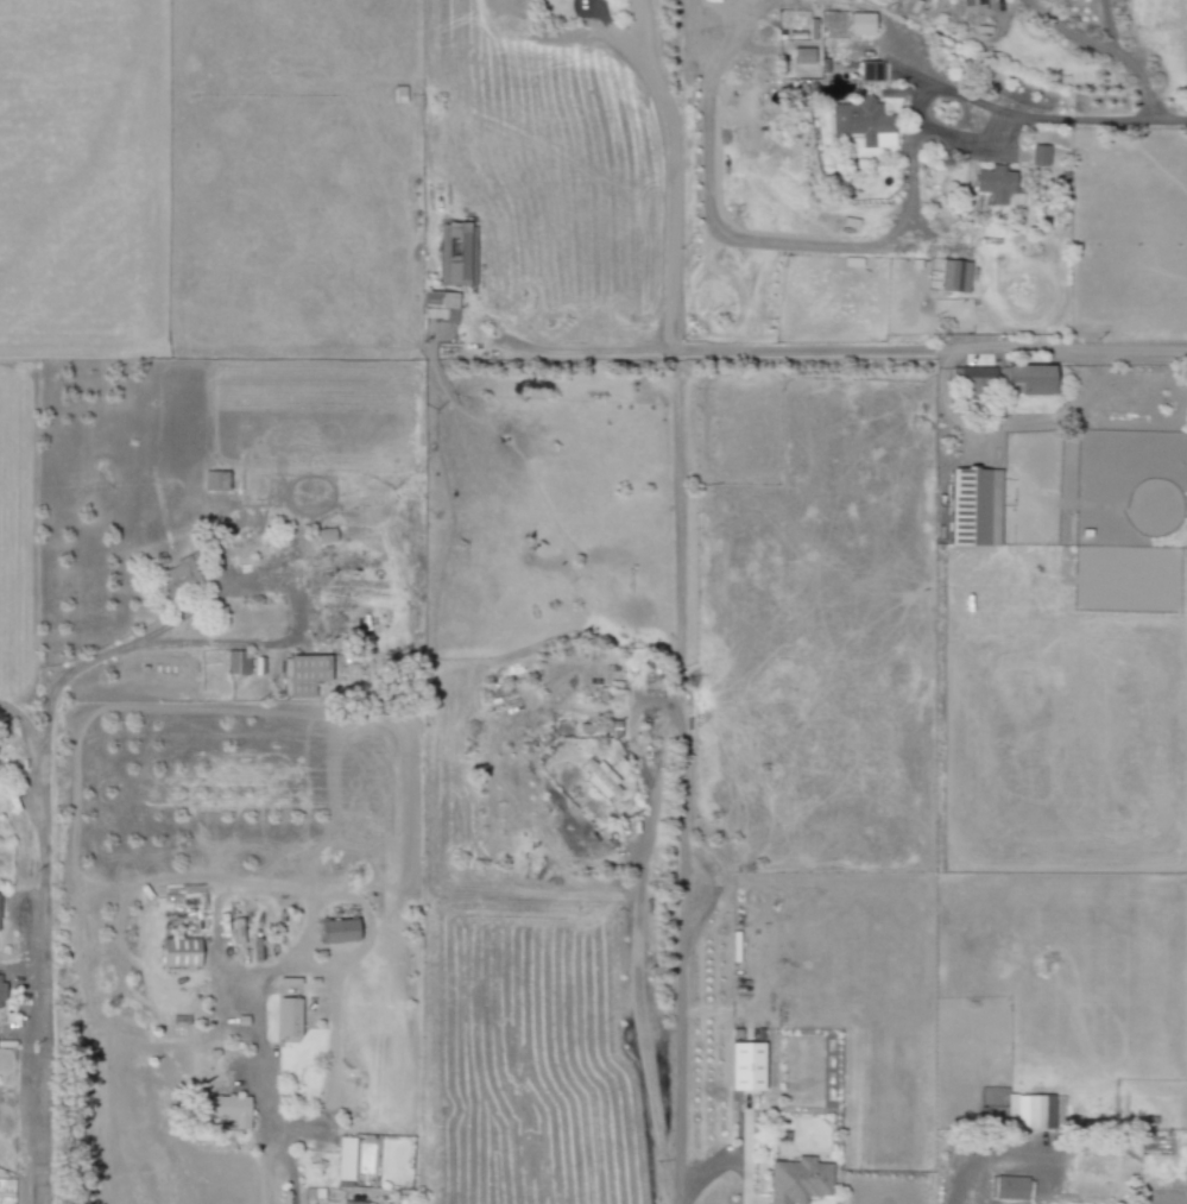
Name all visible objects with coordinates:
building: (970, 6)
building: (858, 23)
road: (1107, 24)
road: (1066, 31)
building: (800, 56)
building: (867, 71)
road: (1137, 74)
road: (1091, 108)
building: (861, 122)
road: (917, 128)
building: (1037, 156)
road: (673, 177)
building: (993, 184)
building: (455, 254)
building: (953, 277)
building: (438, 305)
road: (745, 349)
road: (1150, 349)
building: (970, 377)
building: (1030, 379)
road: (1008, 422)
building: (972, 508)
building: (323, 535)
building: (176, 575)
road: (677, 610)
road: (234, 642)
building: (235, 662)
building: (303, 675)
building: (598, 778)
road: (637, 929)
building: (335, 931)
road: (39, 946)
building: (178, 952)
road: (314, 969)
building: (286, 1017)
road: (682, 1038)
building: (744, 1065)
building: (225, 1109)
building: (1029, 1110)
building: (343, 1161)
road: (987, 1162)
road: (266, 1167)
road: (289, 1167)
road: (722, 1168)
building: (796, 1180)
building: (1008, 1187)

